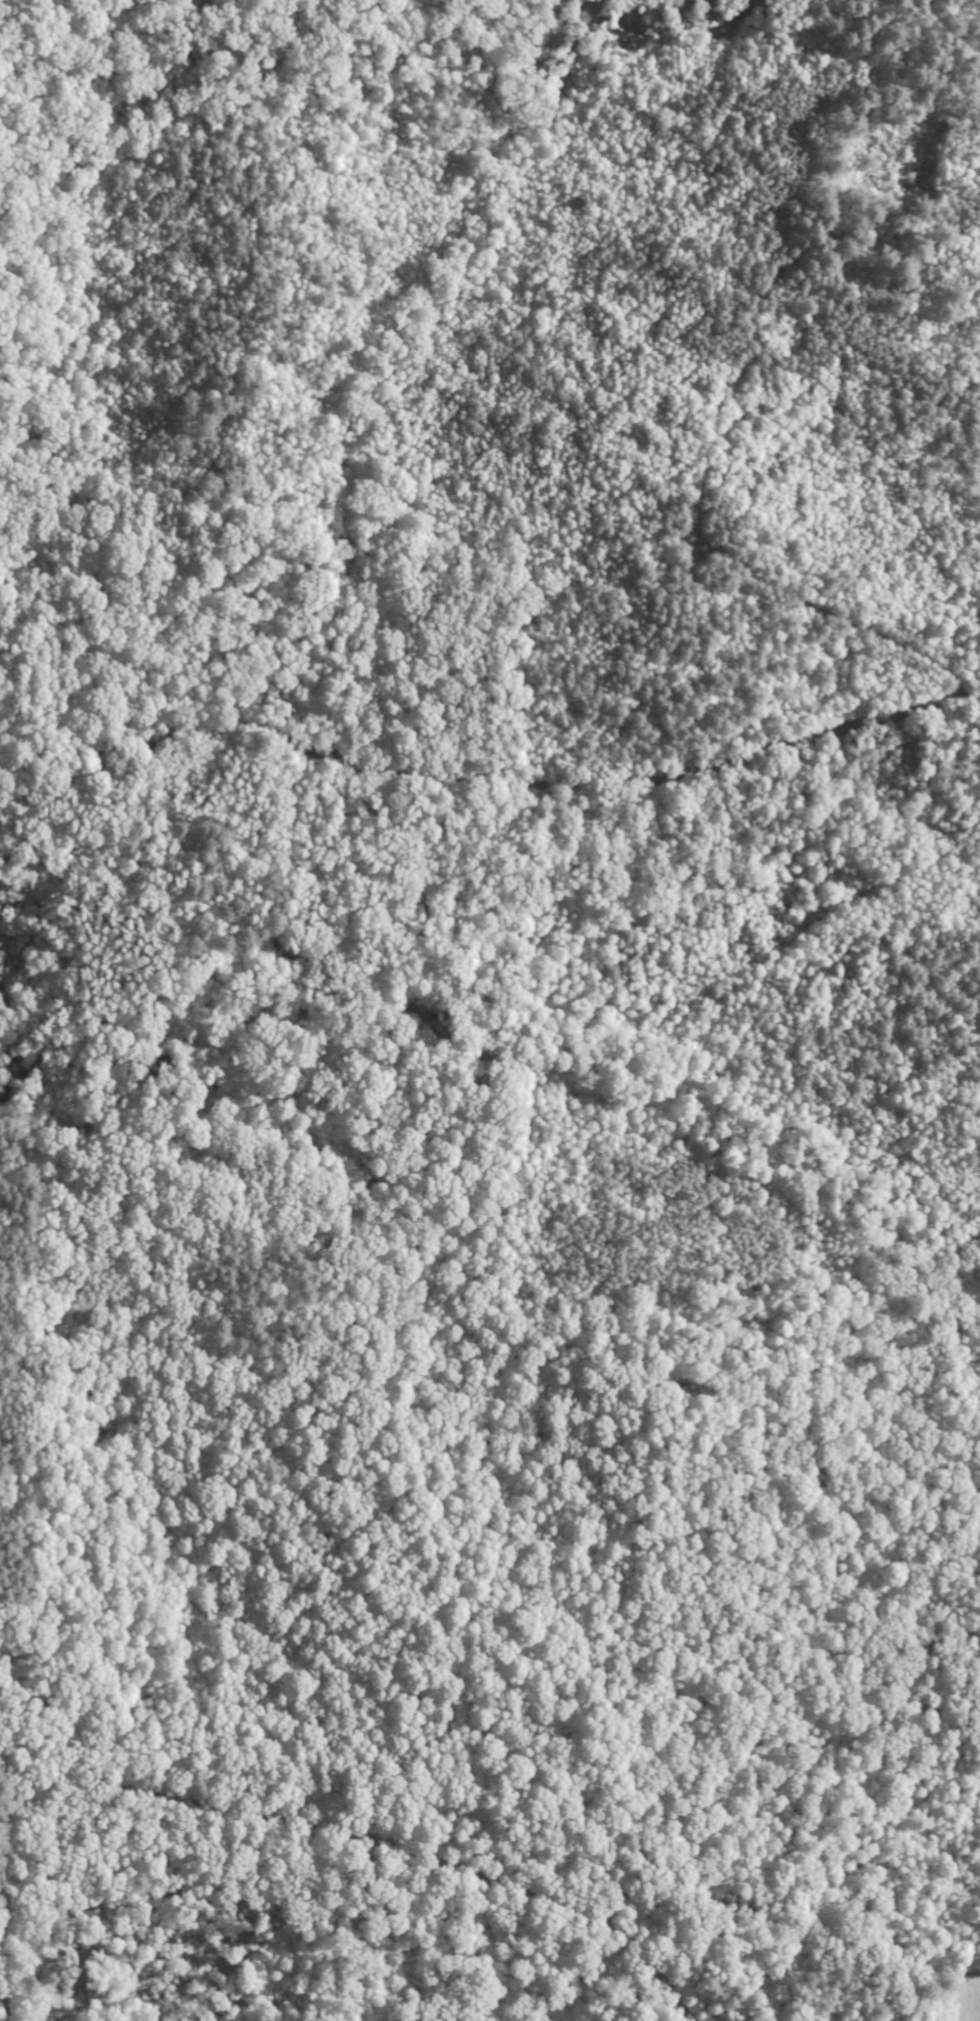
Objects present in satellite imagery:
road: (199, 369)
road: (490, 778)
road: (262, 1819)

